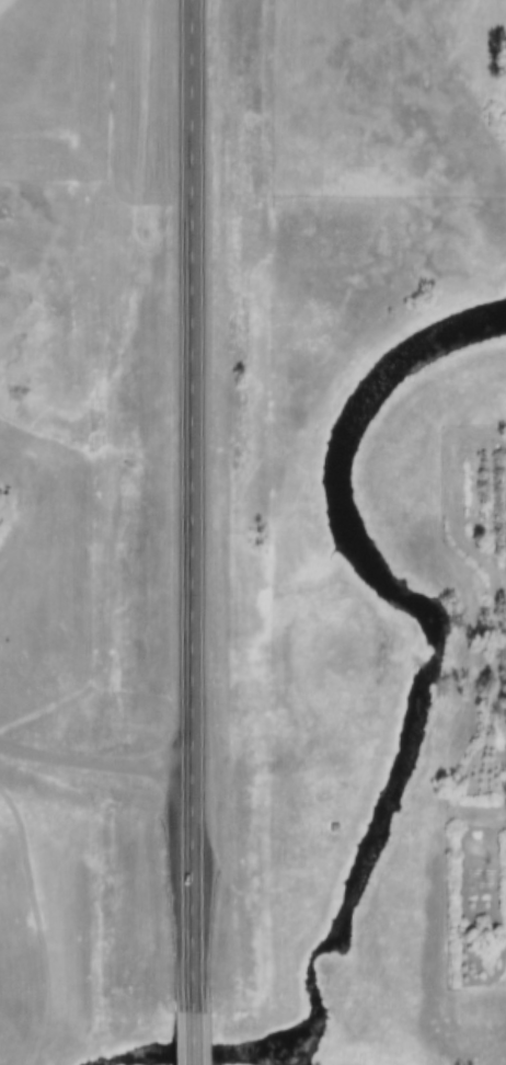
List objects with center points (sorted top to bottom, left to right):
road: (191, 501)
road: (191, 1034)

